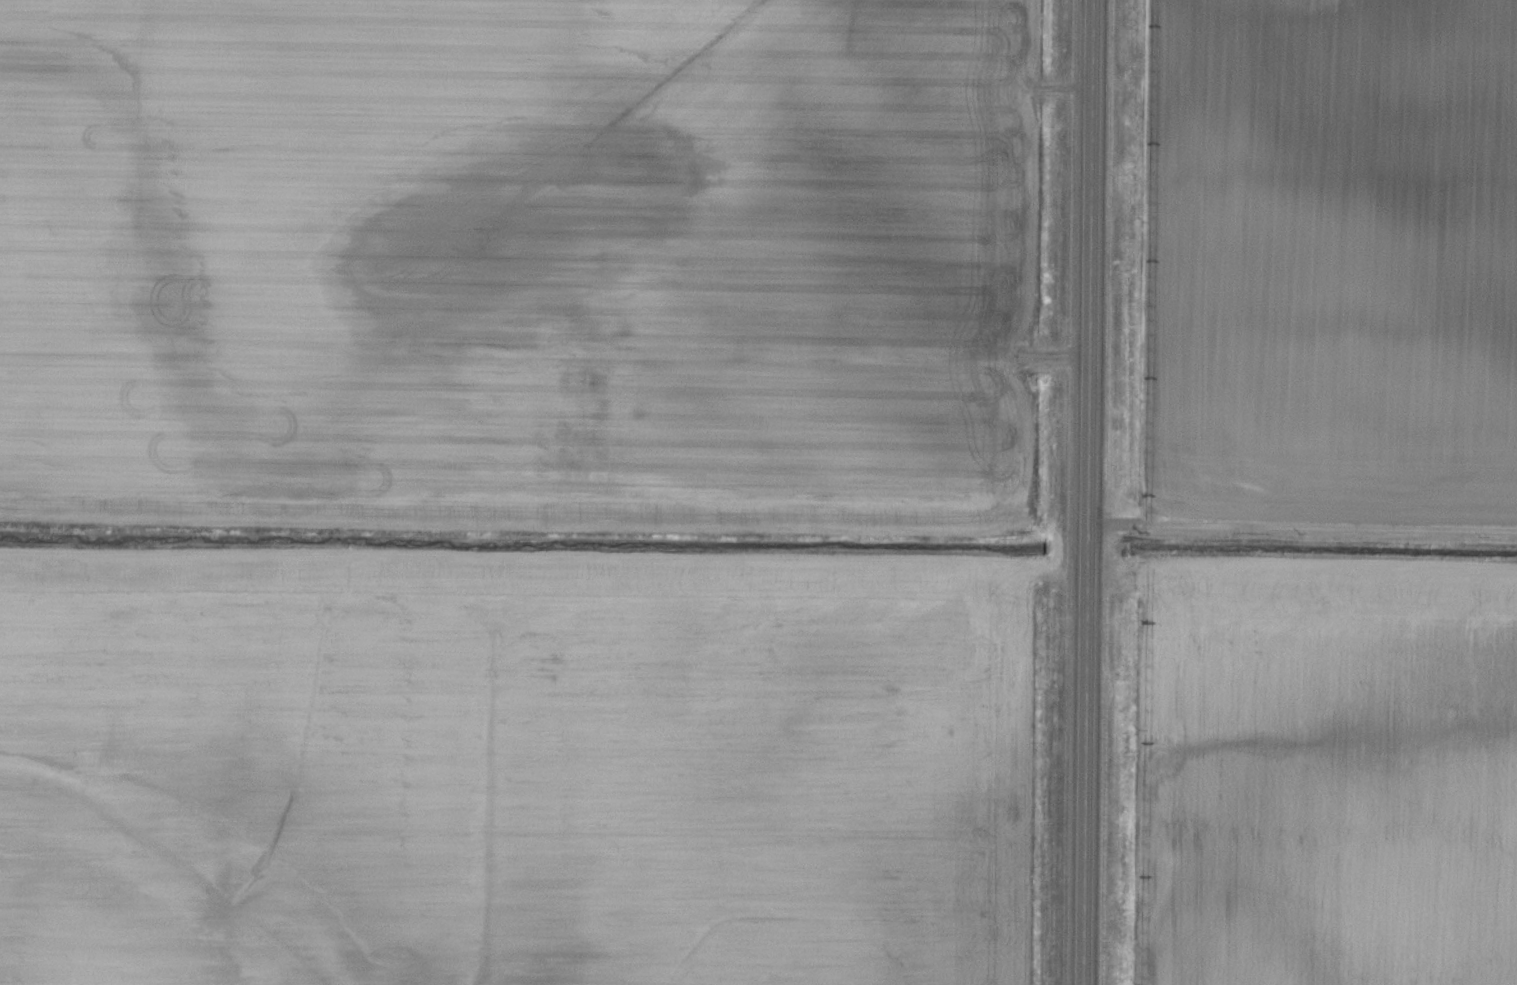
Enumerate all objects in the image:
building: (575, 439)
storage tank: (575, 439)
building: (575, 447)
storage tank: (575, 447)
road: (1083, 492)
road: (1300, 526)

